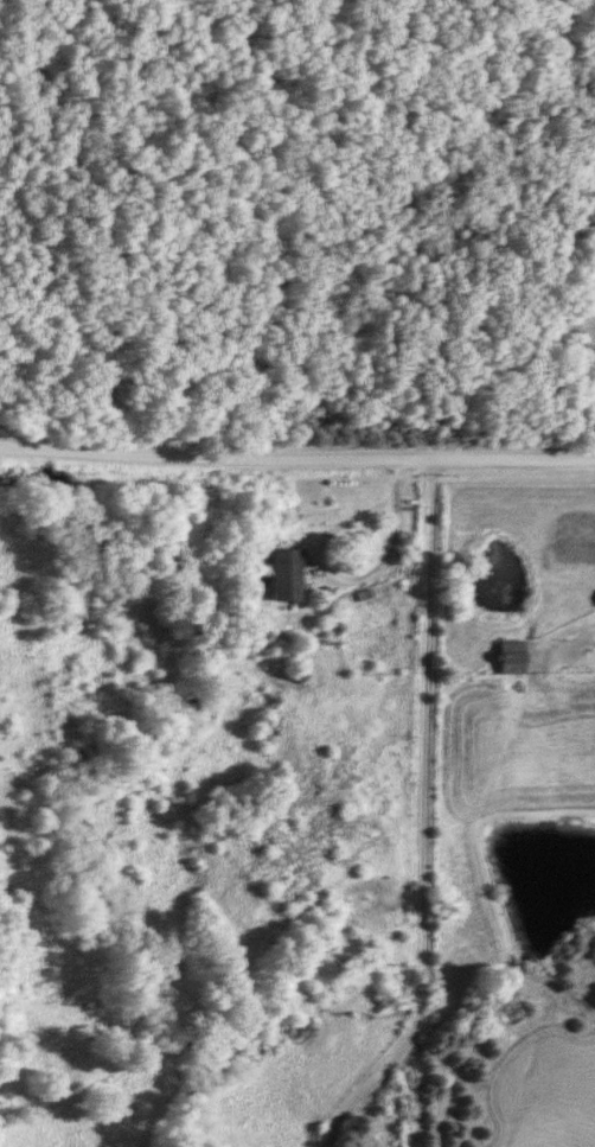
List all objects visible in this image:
road: (297, 453)
building: (276, 574)
road: (353, 582)
building: (506, 657)
road: (417, 817)

